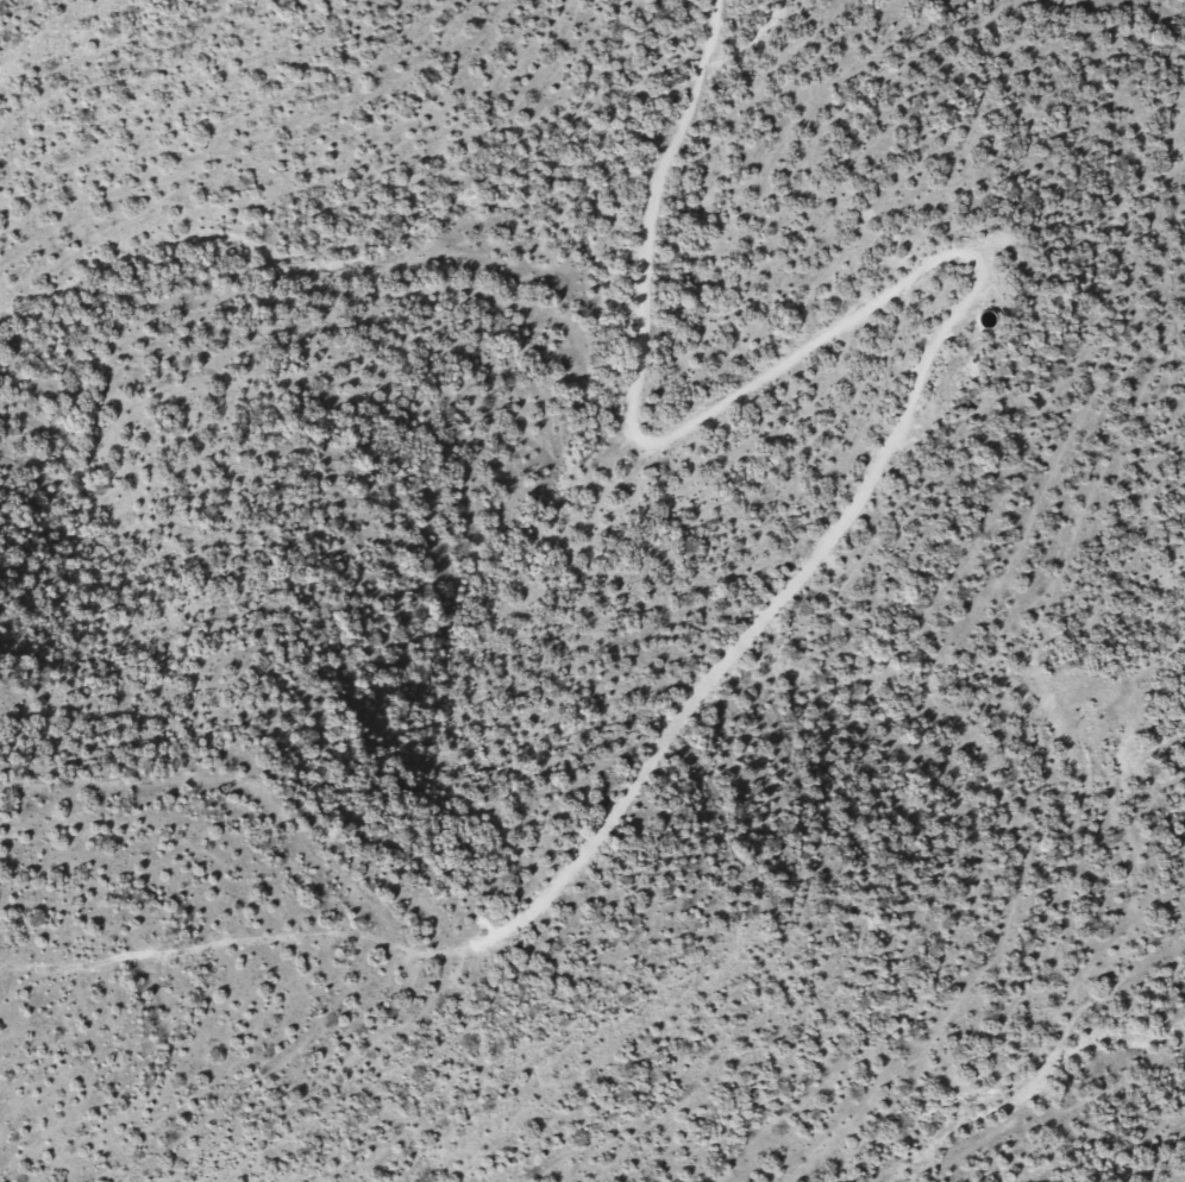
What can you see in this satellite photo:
road: (673, 438)

